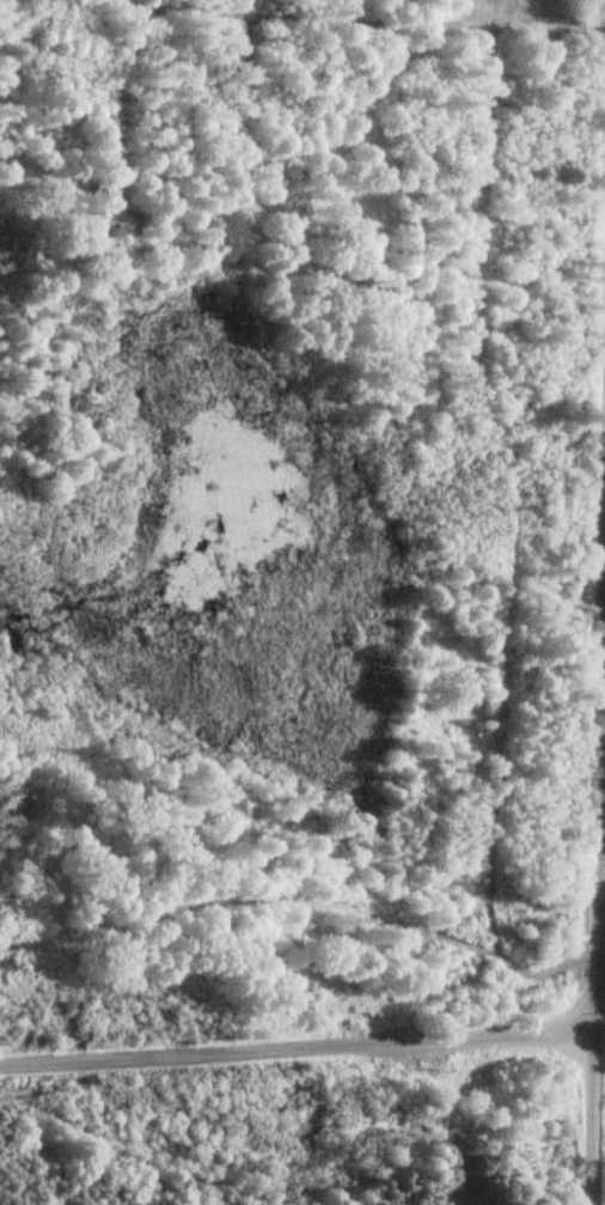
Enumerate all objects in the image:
road: (594, 883)
river: (30, 968)
river: (75, 1051)
road: (294, 1051)
river: (581, 1118)
river: (319, 1133)

